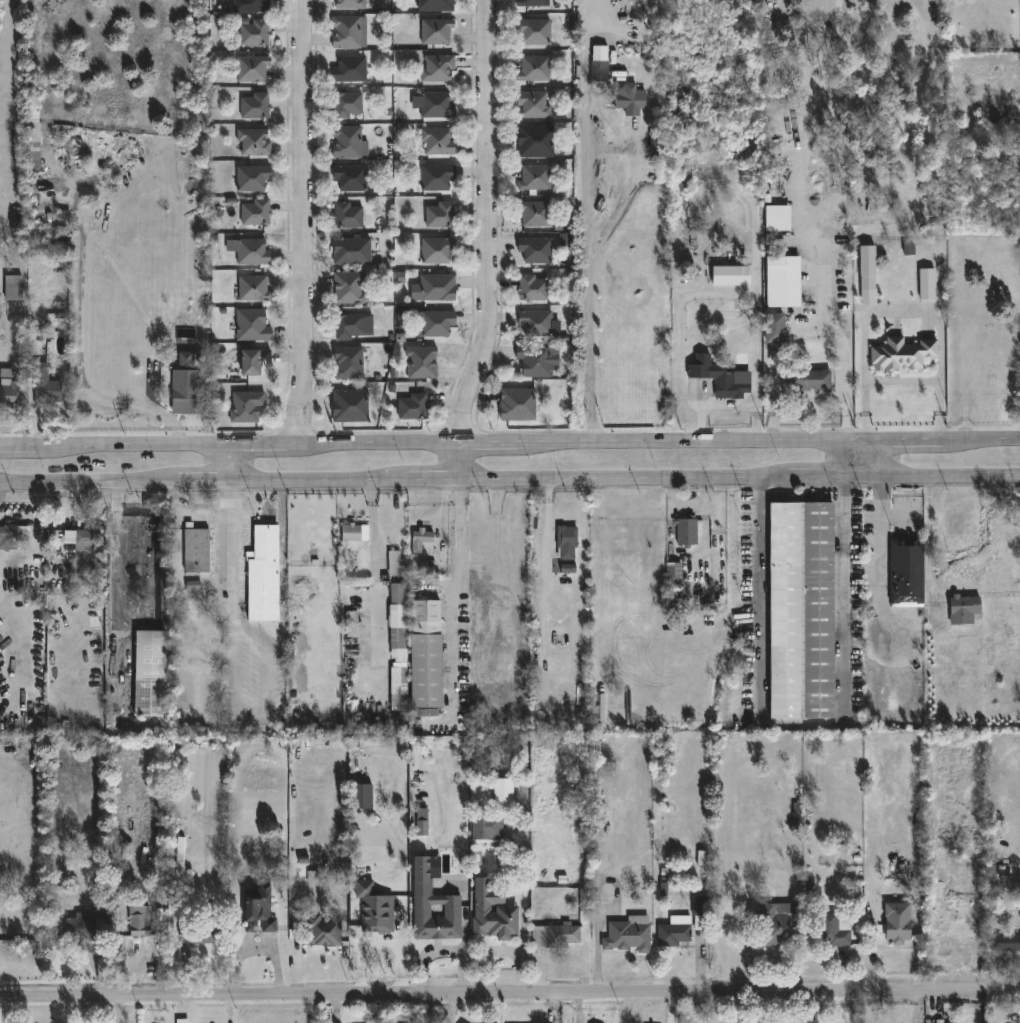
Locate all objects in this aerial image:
building: (531, 3)
building: (349, 4)
building: (249, 5)
building: (436, 5)
building: (436, 31)
building: (534, 31)
building: (348, 32)
building: (254, 33)
building: (437, 68)
building: (251, 69)
building: (349, 69)
building: (534, 69)
building: (602, 71)
building: (627, 97)
building: (346, 104)
building: (532, 104)
building: (435, 105)
building: (254, 106)
building: (440, 141)
building: (533, 141)
building: (346, 142)
building: (254, 143)
building: (350, 177)
building: (435, 177)
building: (252, 178)
building: (534, 178)
building: (255, 212)
building: (534, 213)
building: (347, 214)
building: (439, 215)
building: (778, 218)
road: (589, 219)
road: (312, 221)
building: (564, 240)
road: (496, 242)
building: (534, 249)
building: (436, 250)
building: (251, 252)
building: (351, 252)
building: (783, 271)
building: (730, 276)
building: (927, 284)
building: (12, 286)
building: (531, 287)
building: (252, 288)
building: (347, 288)
building: (433, 288)
building: (867, 297)
road: (876, 310)
building: (535, 323)
building: (433, 324)
building: (254, 326)
building: (347, 327)
building: (771, 328)
road: (81, 350)
building: (902, 355)
building: (192, 359)
building: (534, 360)
building: (252, 362)
building: (347, 362)
building: (421, 362)
road: (864, 374)
building: (718, 378)
building: (809, 379)
road: (903, 380)
building: (47, 384)
building: (7, 393)
building: (188, 395)
road: (788, 395)
building: (517, 403)
building: (349, 406)
road: (159, 407)
building: (246, 407)
building: (412, 407)
road: (509, 441)
road: (874, 458)
road: (236, 461)
road: (509, 478)
road: (687, 504)
road: (373, 523)
building: (689, 531)
building: (355, 533)
building: (8, 536)
building: (87, 537)
building: (423, 539)
building: (570, 540)
building: (198, 549)
road: (548, 549)
road: (879, 551)
road: (236, 553)
road: (115, 554)
building: (394, 563)
building: (568, 568)
building: (903, 569)
building: (674, 571)
building: (266, 573)
road: (457, 584)
building: (193, 585)
building: (400, 593)
road: (760, 596)
road: (843, 596)
building: (959, 608)
building: (796, 609)
building: (351, 624)
building: (401, 640)
building: (430, 653)
building: (154, 671)
building: (398, 686)
building: (920, 703)
building: (503, 794)
building: (362, 796)
building: (490, 826)
building: (422, 828)
building: (114, 843)
building: (180, 856)
building: (312, 876)
building: (260, 905)
building: (436, 907)
building: (375, 909)
building: (696, 912)
building: (495, 914)
building: (141, 921)
building: (894, 922)
building: (776, 924)
building: (832, 928)
building: (82, 929)
building: (328, 930)
building: (674, 931)
building: (198, 933)
building: (383, 933)
building: (631, 934)
building: (558, 936)
building: (1003, 942)
road: (510, 999)
building: (184, 1021)
building: (810, 1021)

